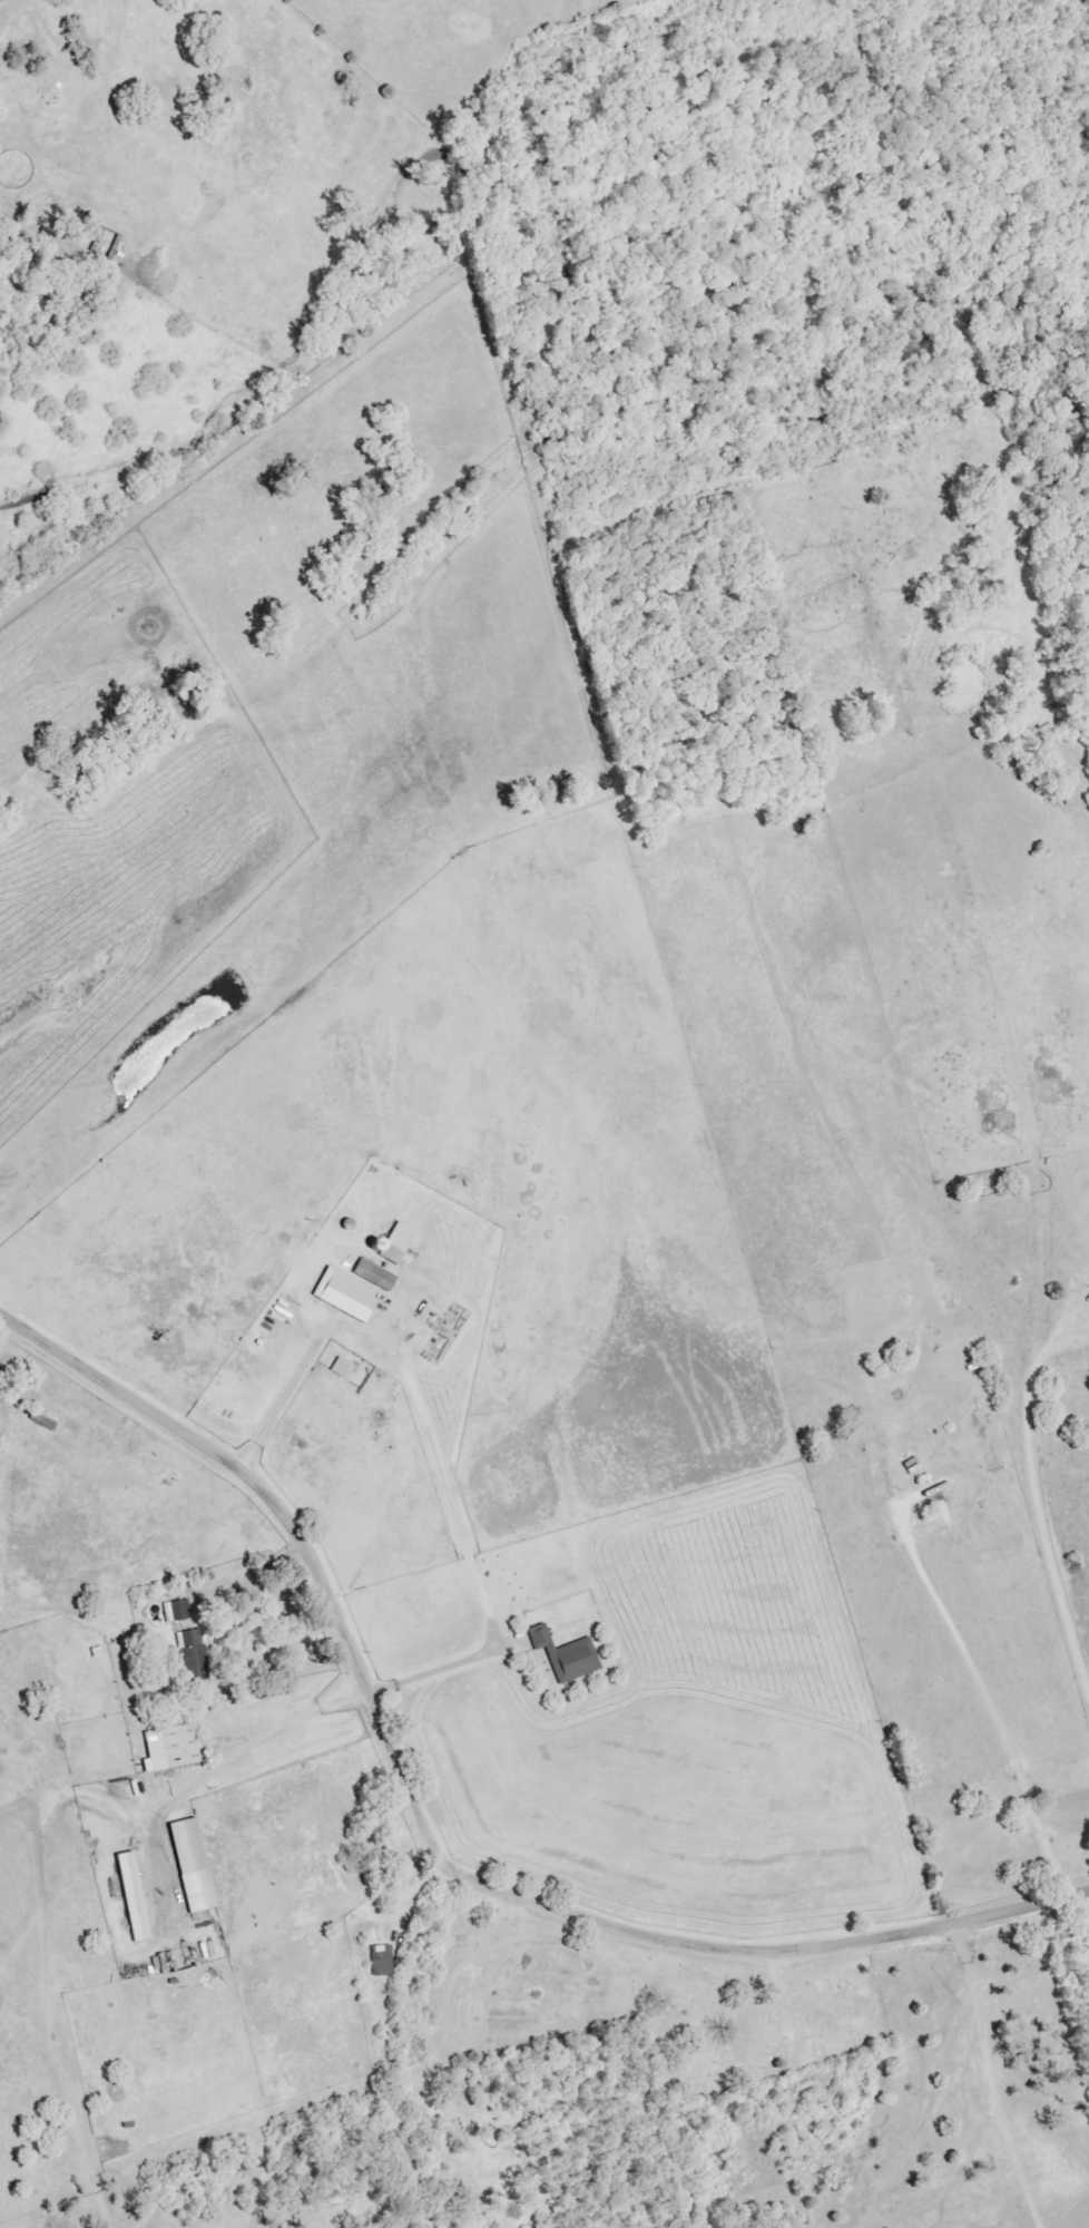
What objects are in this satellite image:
building: (396, 1243)
building: (376, 1276)
building: (346, 1294)
road: (1041, 1502)
building: (179, 1611)
building: (194, 1648)
building: (568, 1655)
road: (985, 1692)
building: (174, 1749)
road: (50, 1834)
road: (430, 1834)
building: (195, 1866)
building: (135, 1897)
building: (184, 1958)
building: (383, 1961)
park: (588, 1997)
road: (995, 2075)

